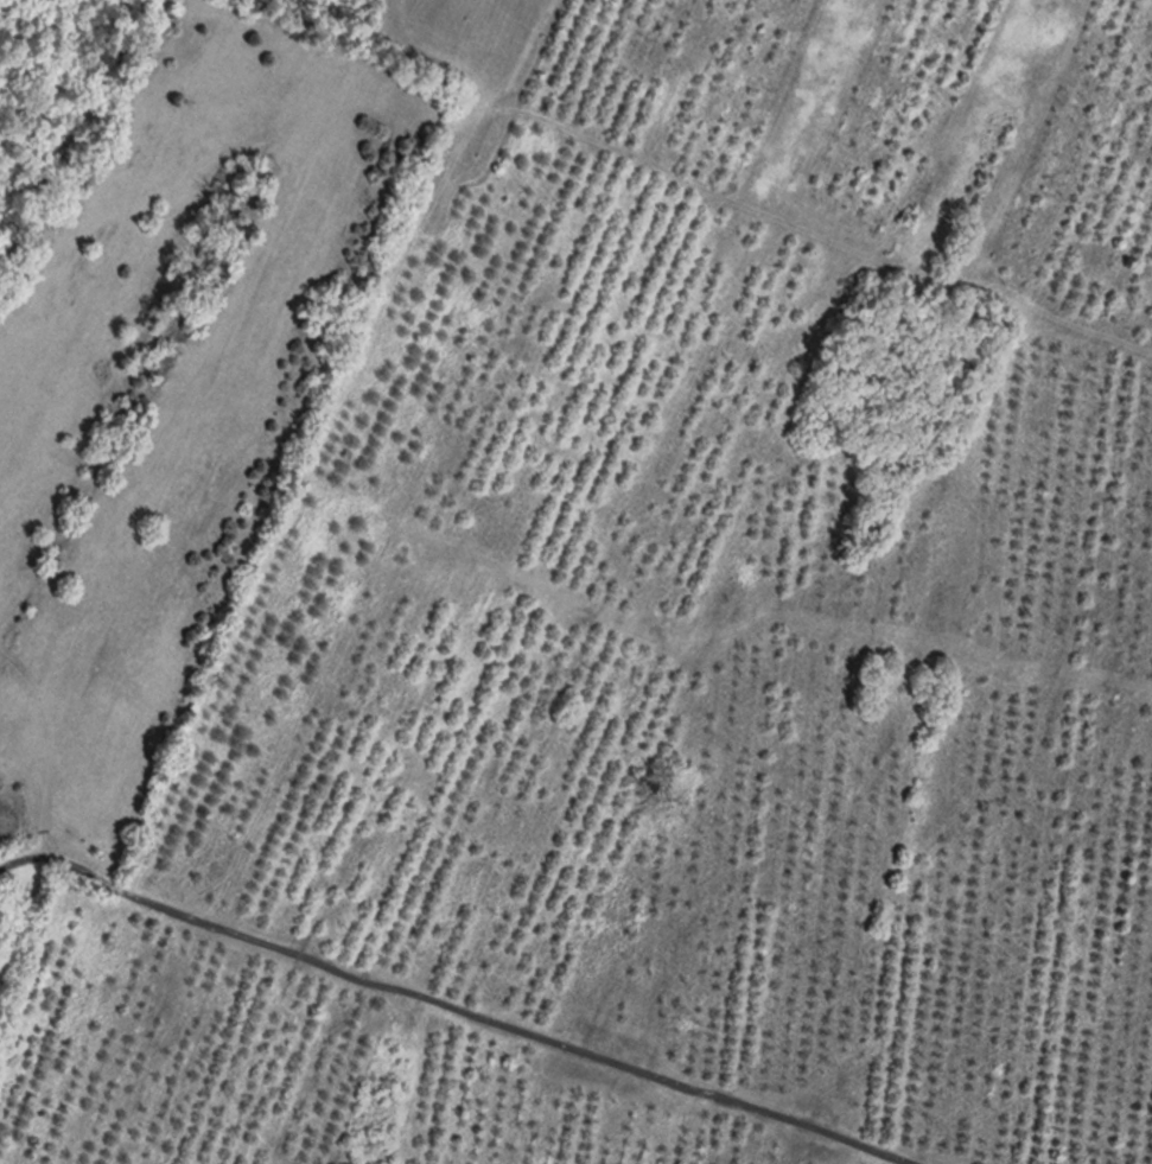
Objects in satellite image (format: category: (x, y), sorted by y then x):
road: (456, 1009)

